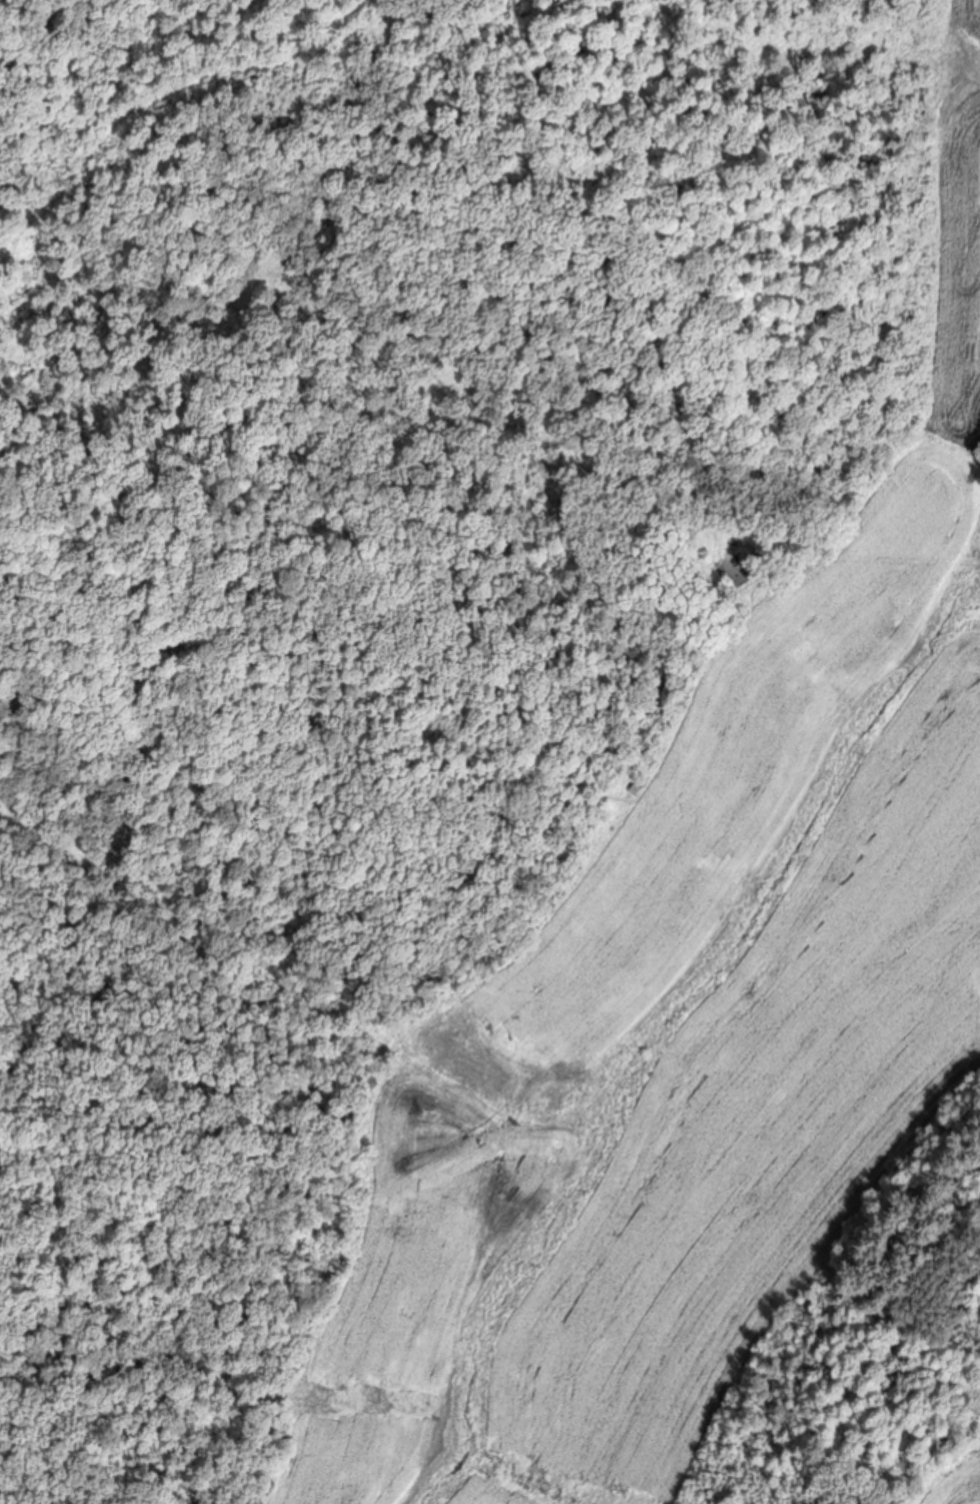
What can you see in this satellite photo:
road: (971, 566)

